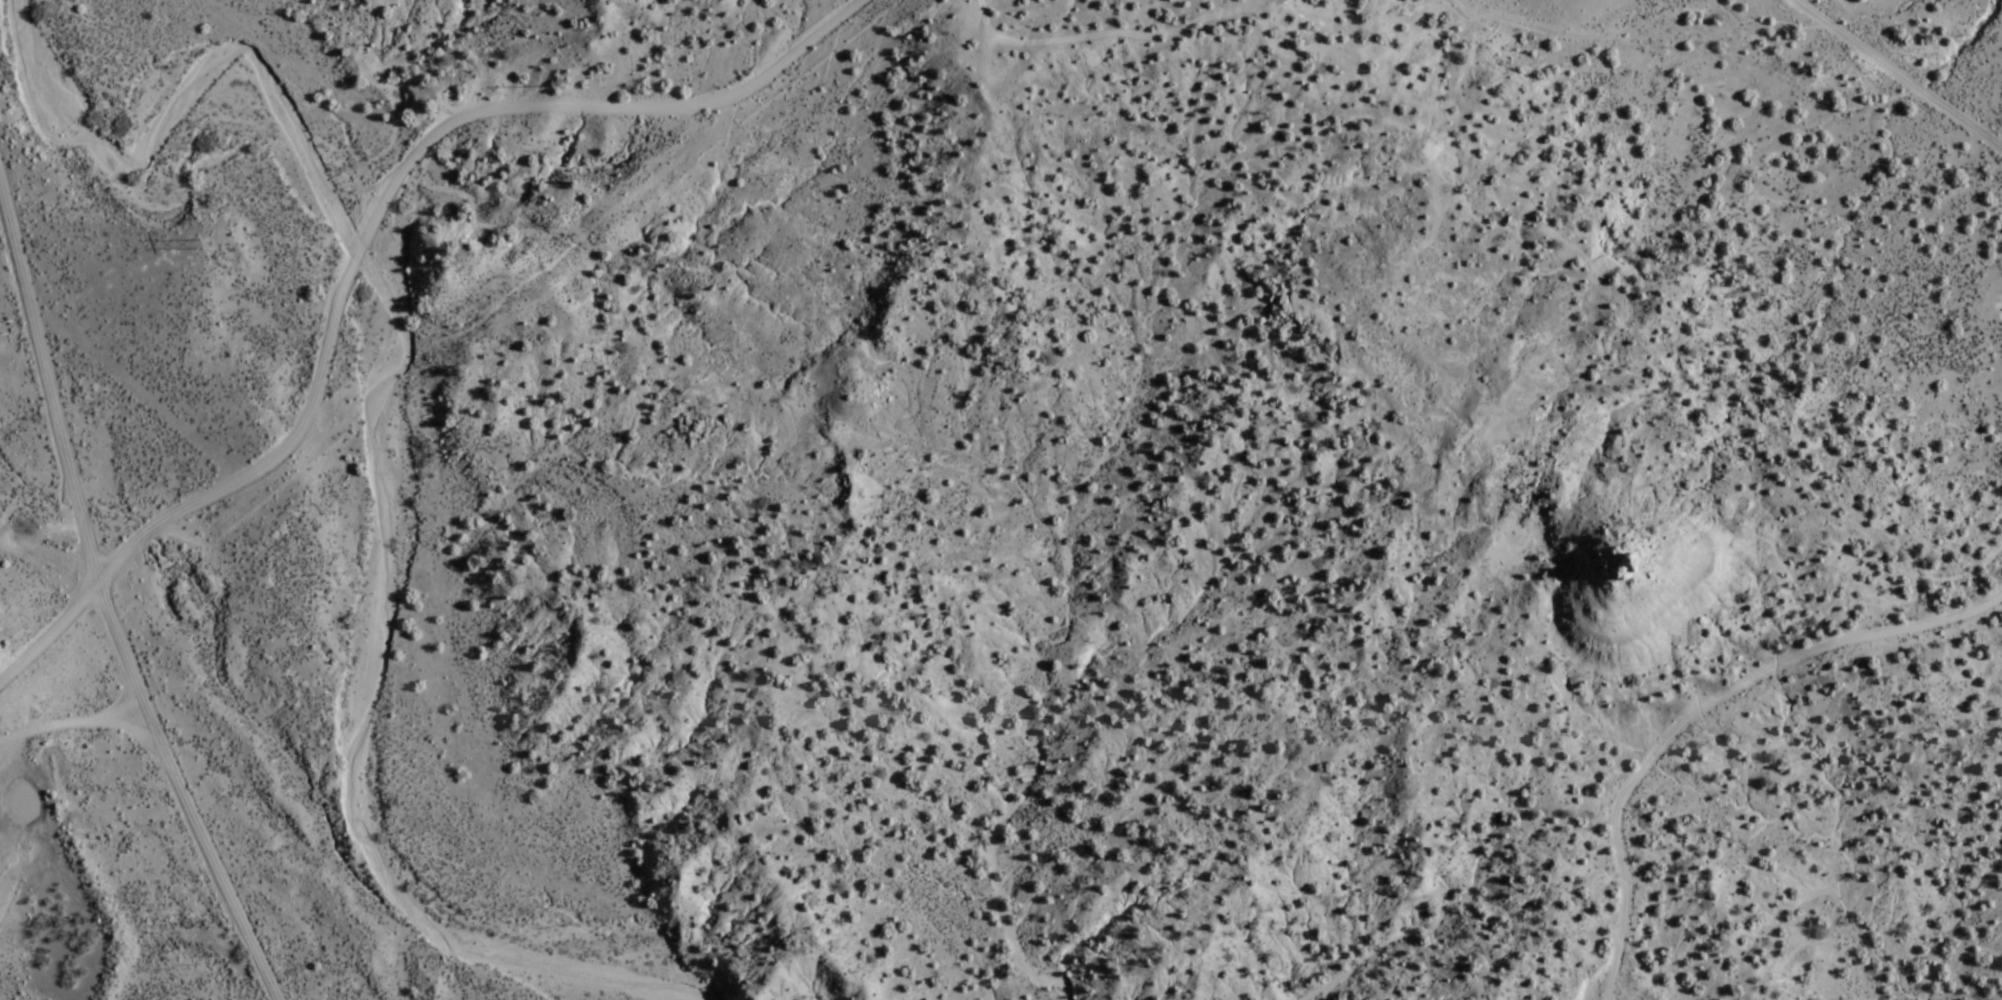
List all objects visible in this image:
road: (421, 337)
river: (400, 466)
road: (41, 555)
road: (94, 605)
road: (68, 724)

